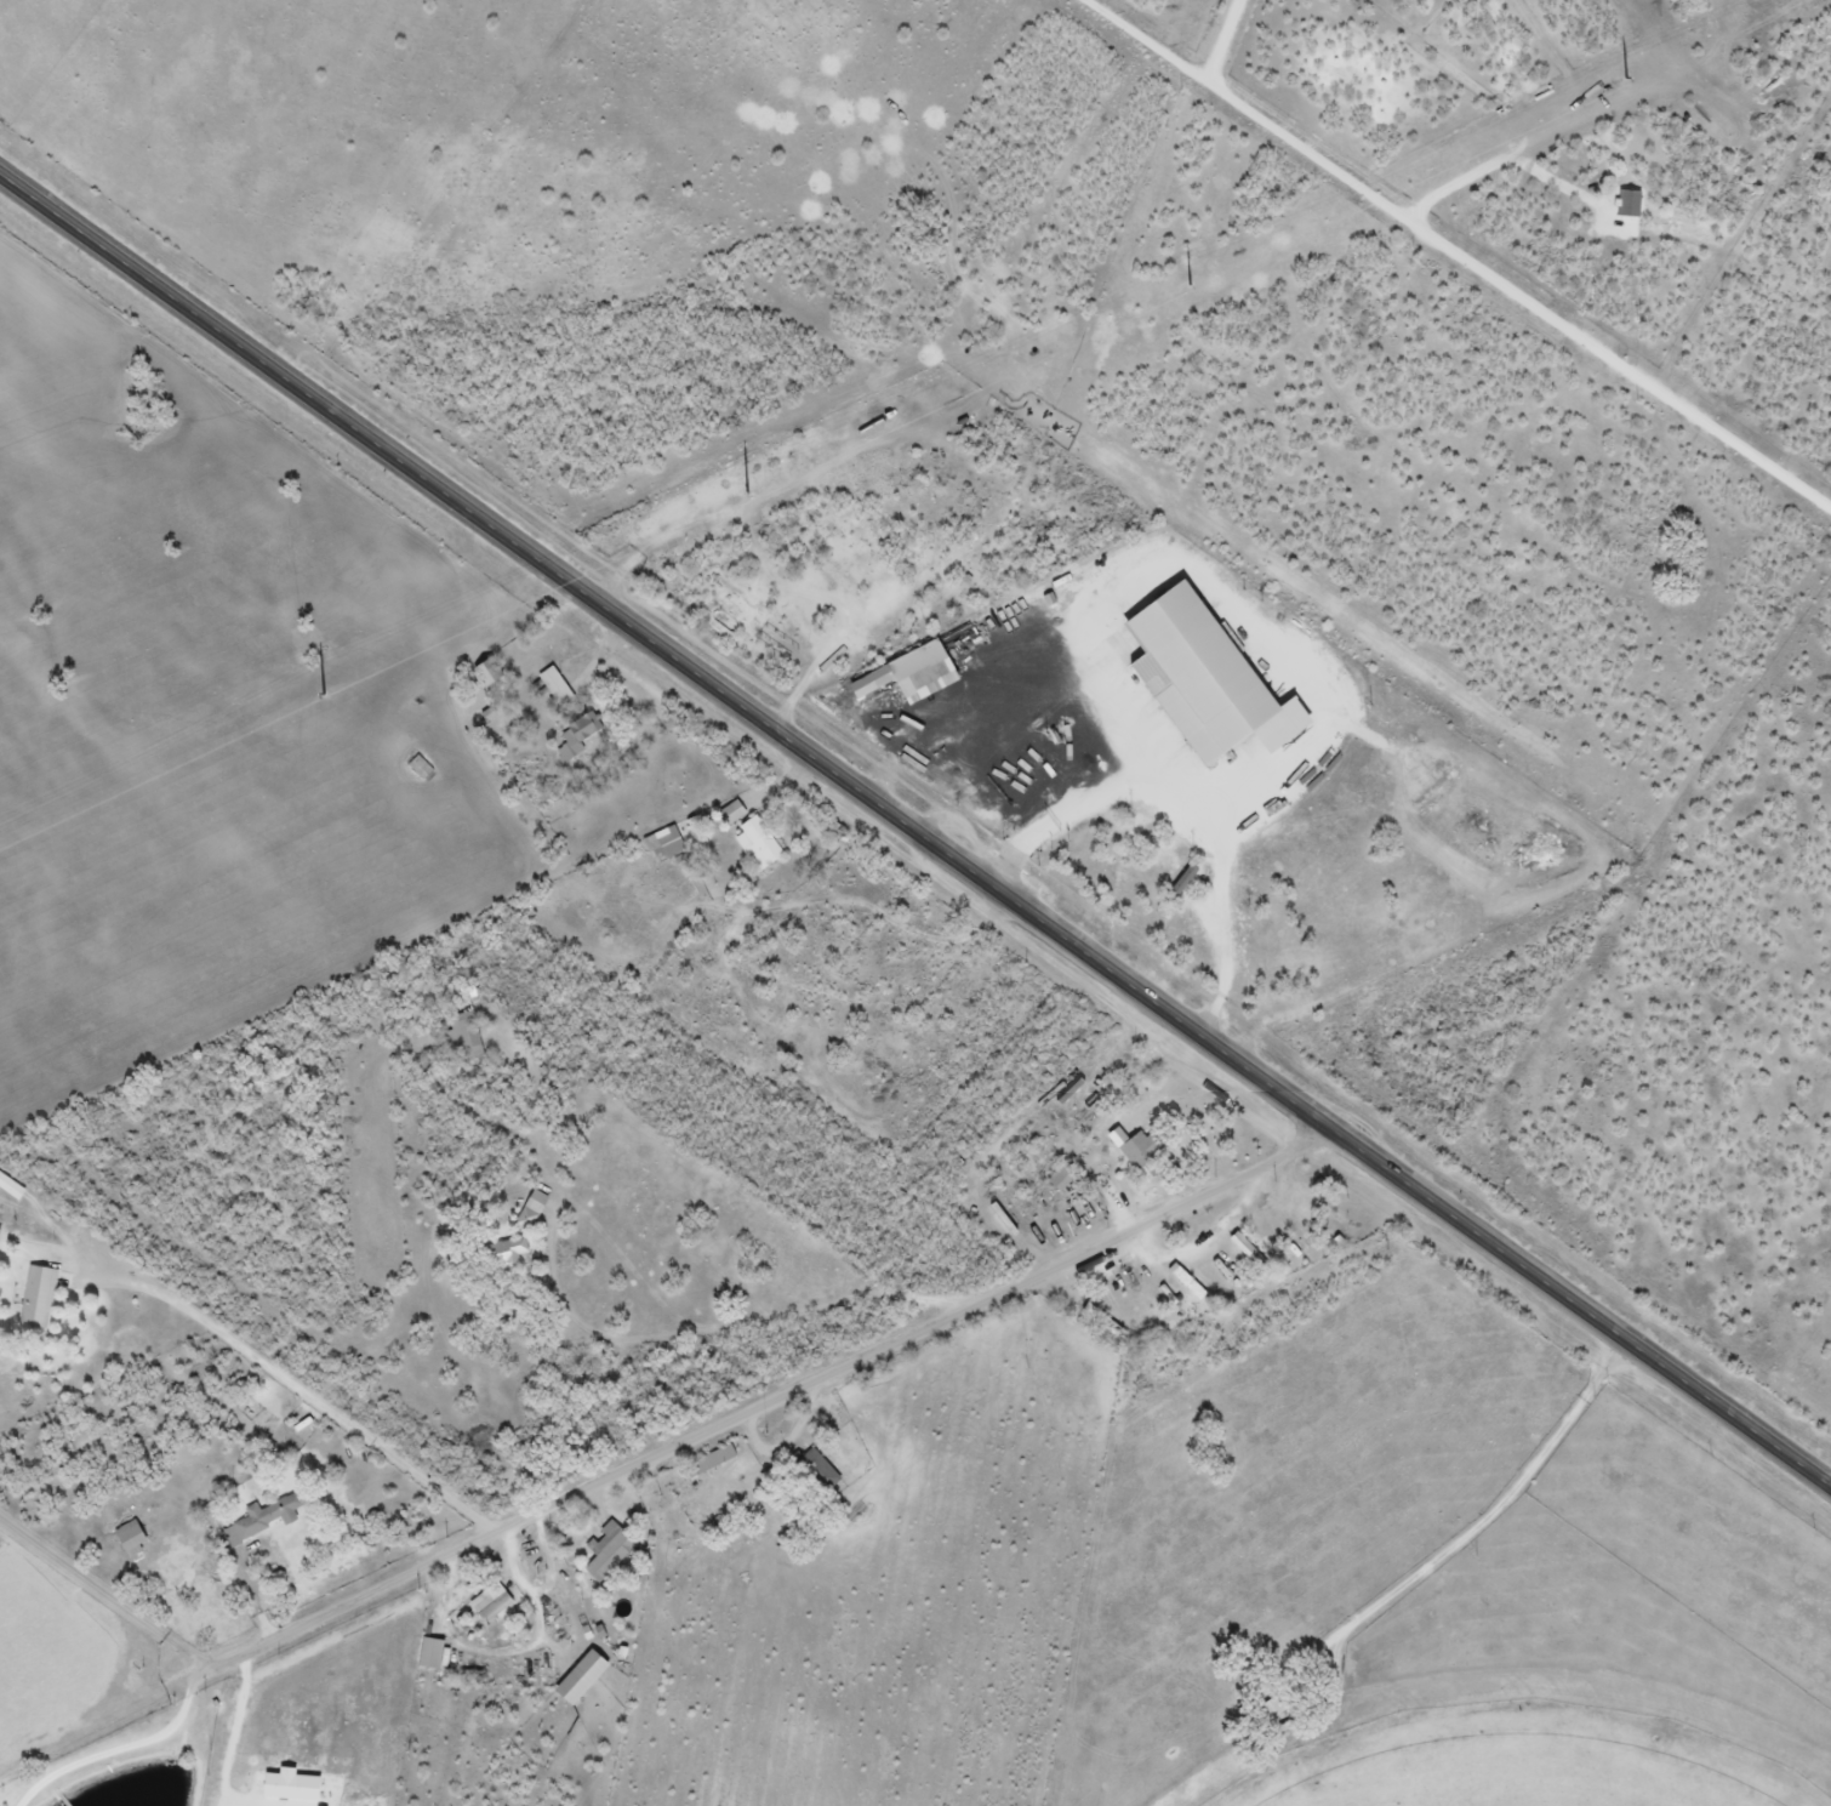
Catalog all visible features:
power tower: (1612, 78)
power tower: (1177, 283)
power tower: (746, 490)
building: (837, 579)
building: (770, 642)
building: (895, 671)
building: (485, 672)
building: (1197, 673)
building: (553, 691)
power tower: (333, 694)
road: (1088, 703)
building: (582, 729)
building: (420, 768)
road: (912, 826)
building: (1130, 831)
building: (757, 844)
building: (663, 845)
building: (1133, 883)
railway: (915, 901)
building: (1443, 925)
road: (1231, 965)
building: (467, 1036)
building: (1140, 1155)
building: (1060, 1178)
building: (10, 1187)
building: (531, 1210)
building: (1234, 1248)
building: (504, 1253)
building: (1186, 1282)
building: (38, 1298)
road: (705, 1326)
road: (774, 1398)
building: (815, 1472)
building: (280, 1516)
building: (130, 1538)
building: (606, 1550)
road: (107, 1588)
building: (490, 1605)
building: (429, 1654)
building: (578, 1679)
building: (1273, 1710)
road: (143, 1741)

